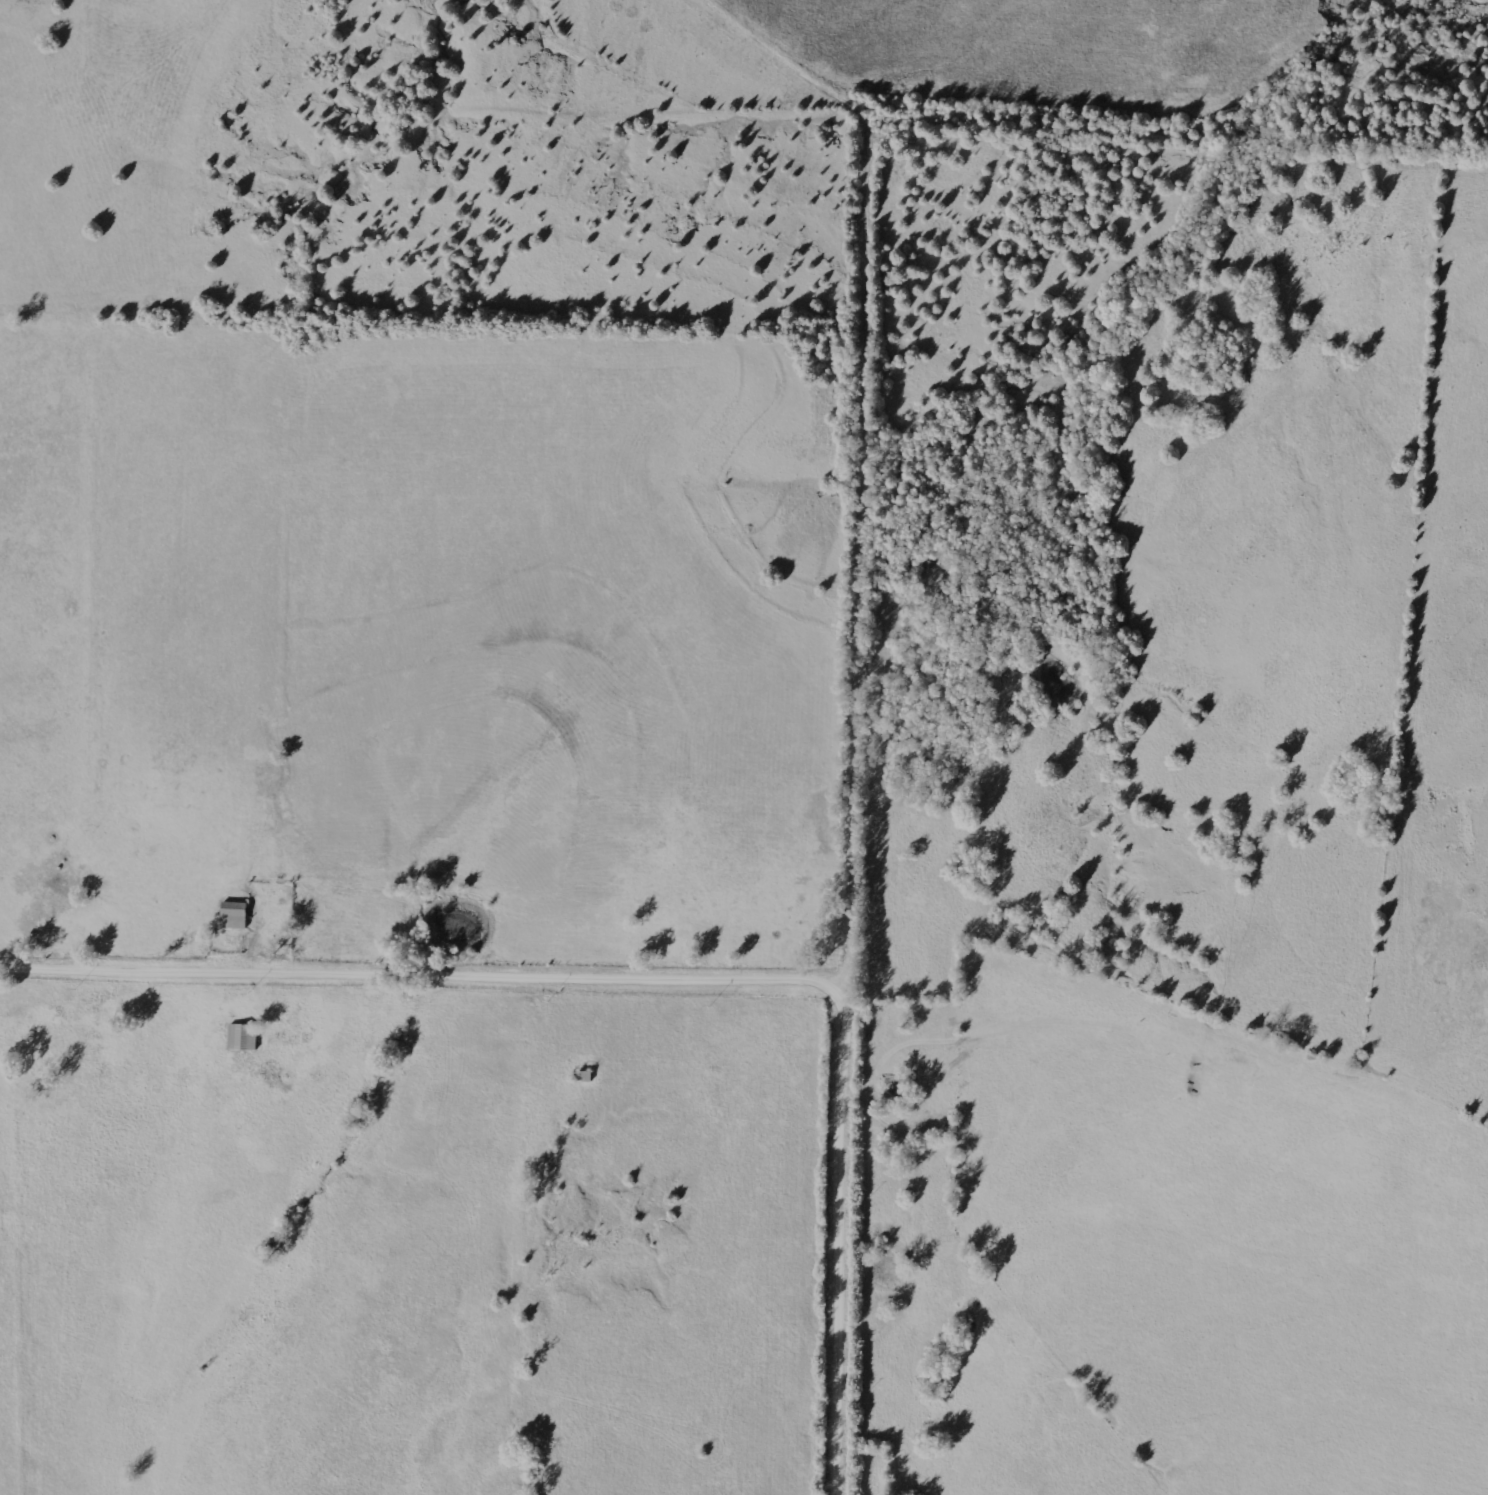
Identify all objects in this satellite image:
road: (842, 377)
building: (233, 916)
road: (412, 960)
road: (825, 1232)

